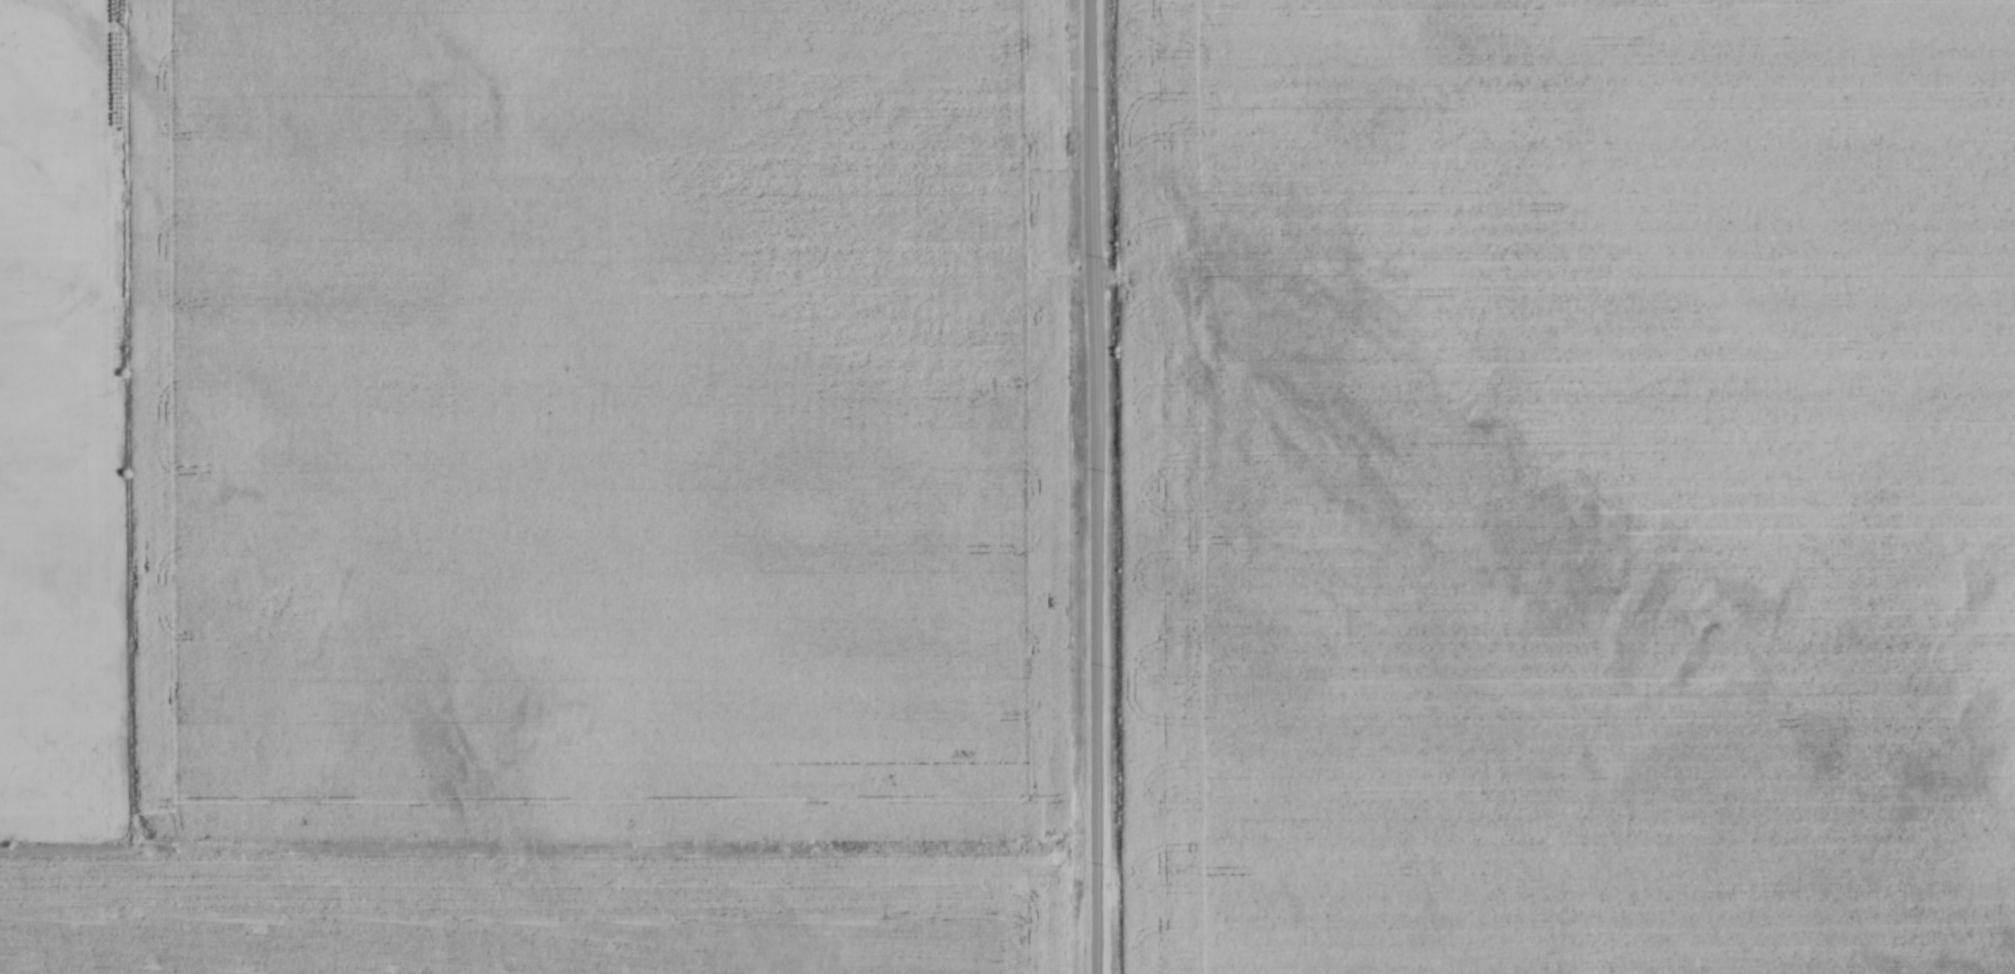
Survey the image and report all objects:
road: (1094, 486)

